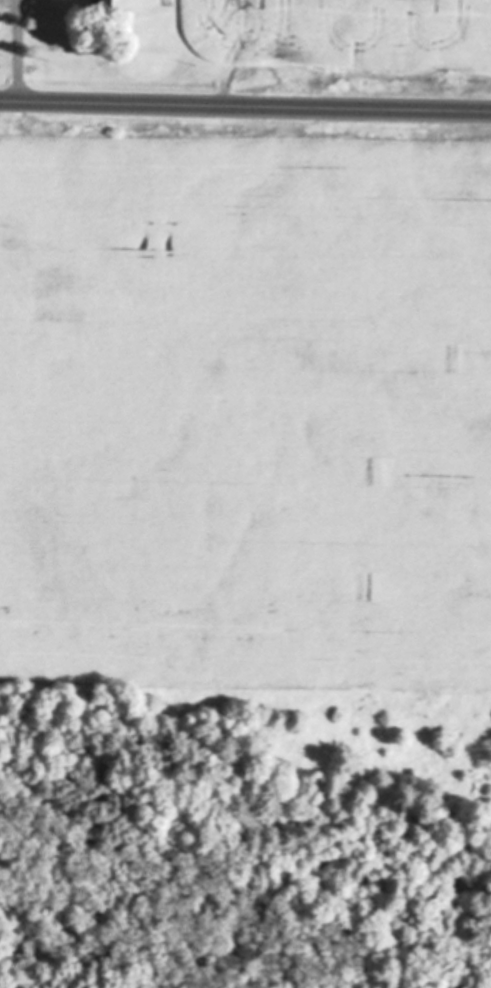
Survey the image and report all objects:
building: (103, 5)
road: (245, 108)

